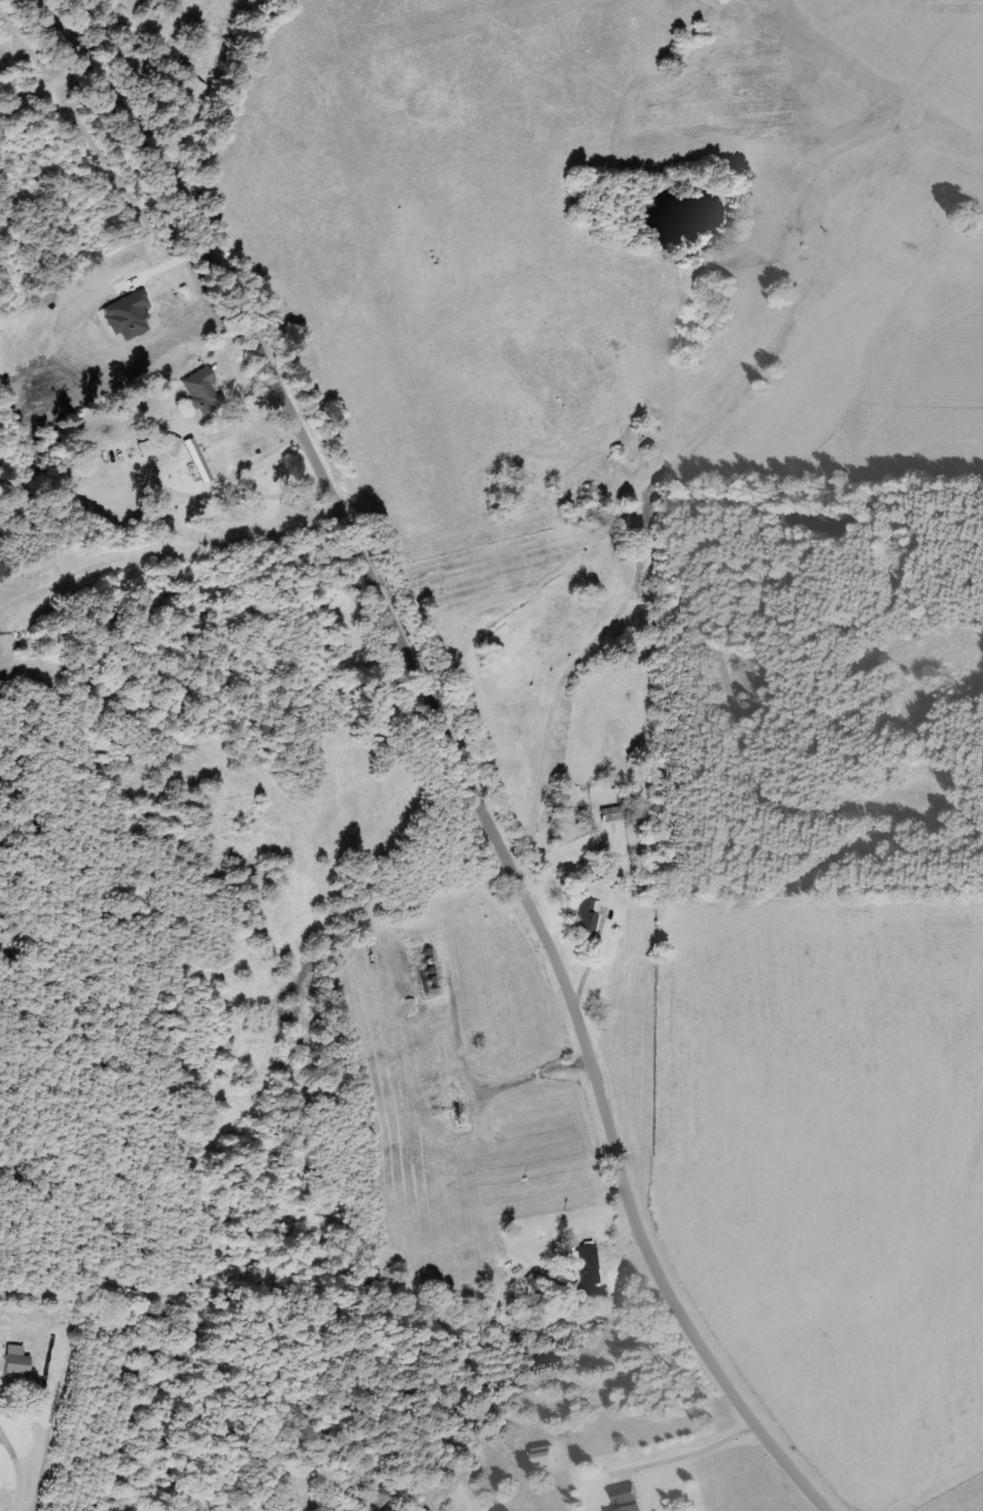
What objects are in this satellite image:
building: (201, 390)
building: (198, 460)
road: (448, 747)
building: (614, 813)
building: (585, 920)
building: (588, 1265)
building: (16, 1360)
building: (550, 1456)
building: (630, 1499)

